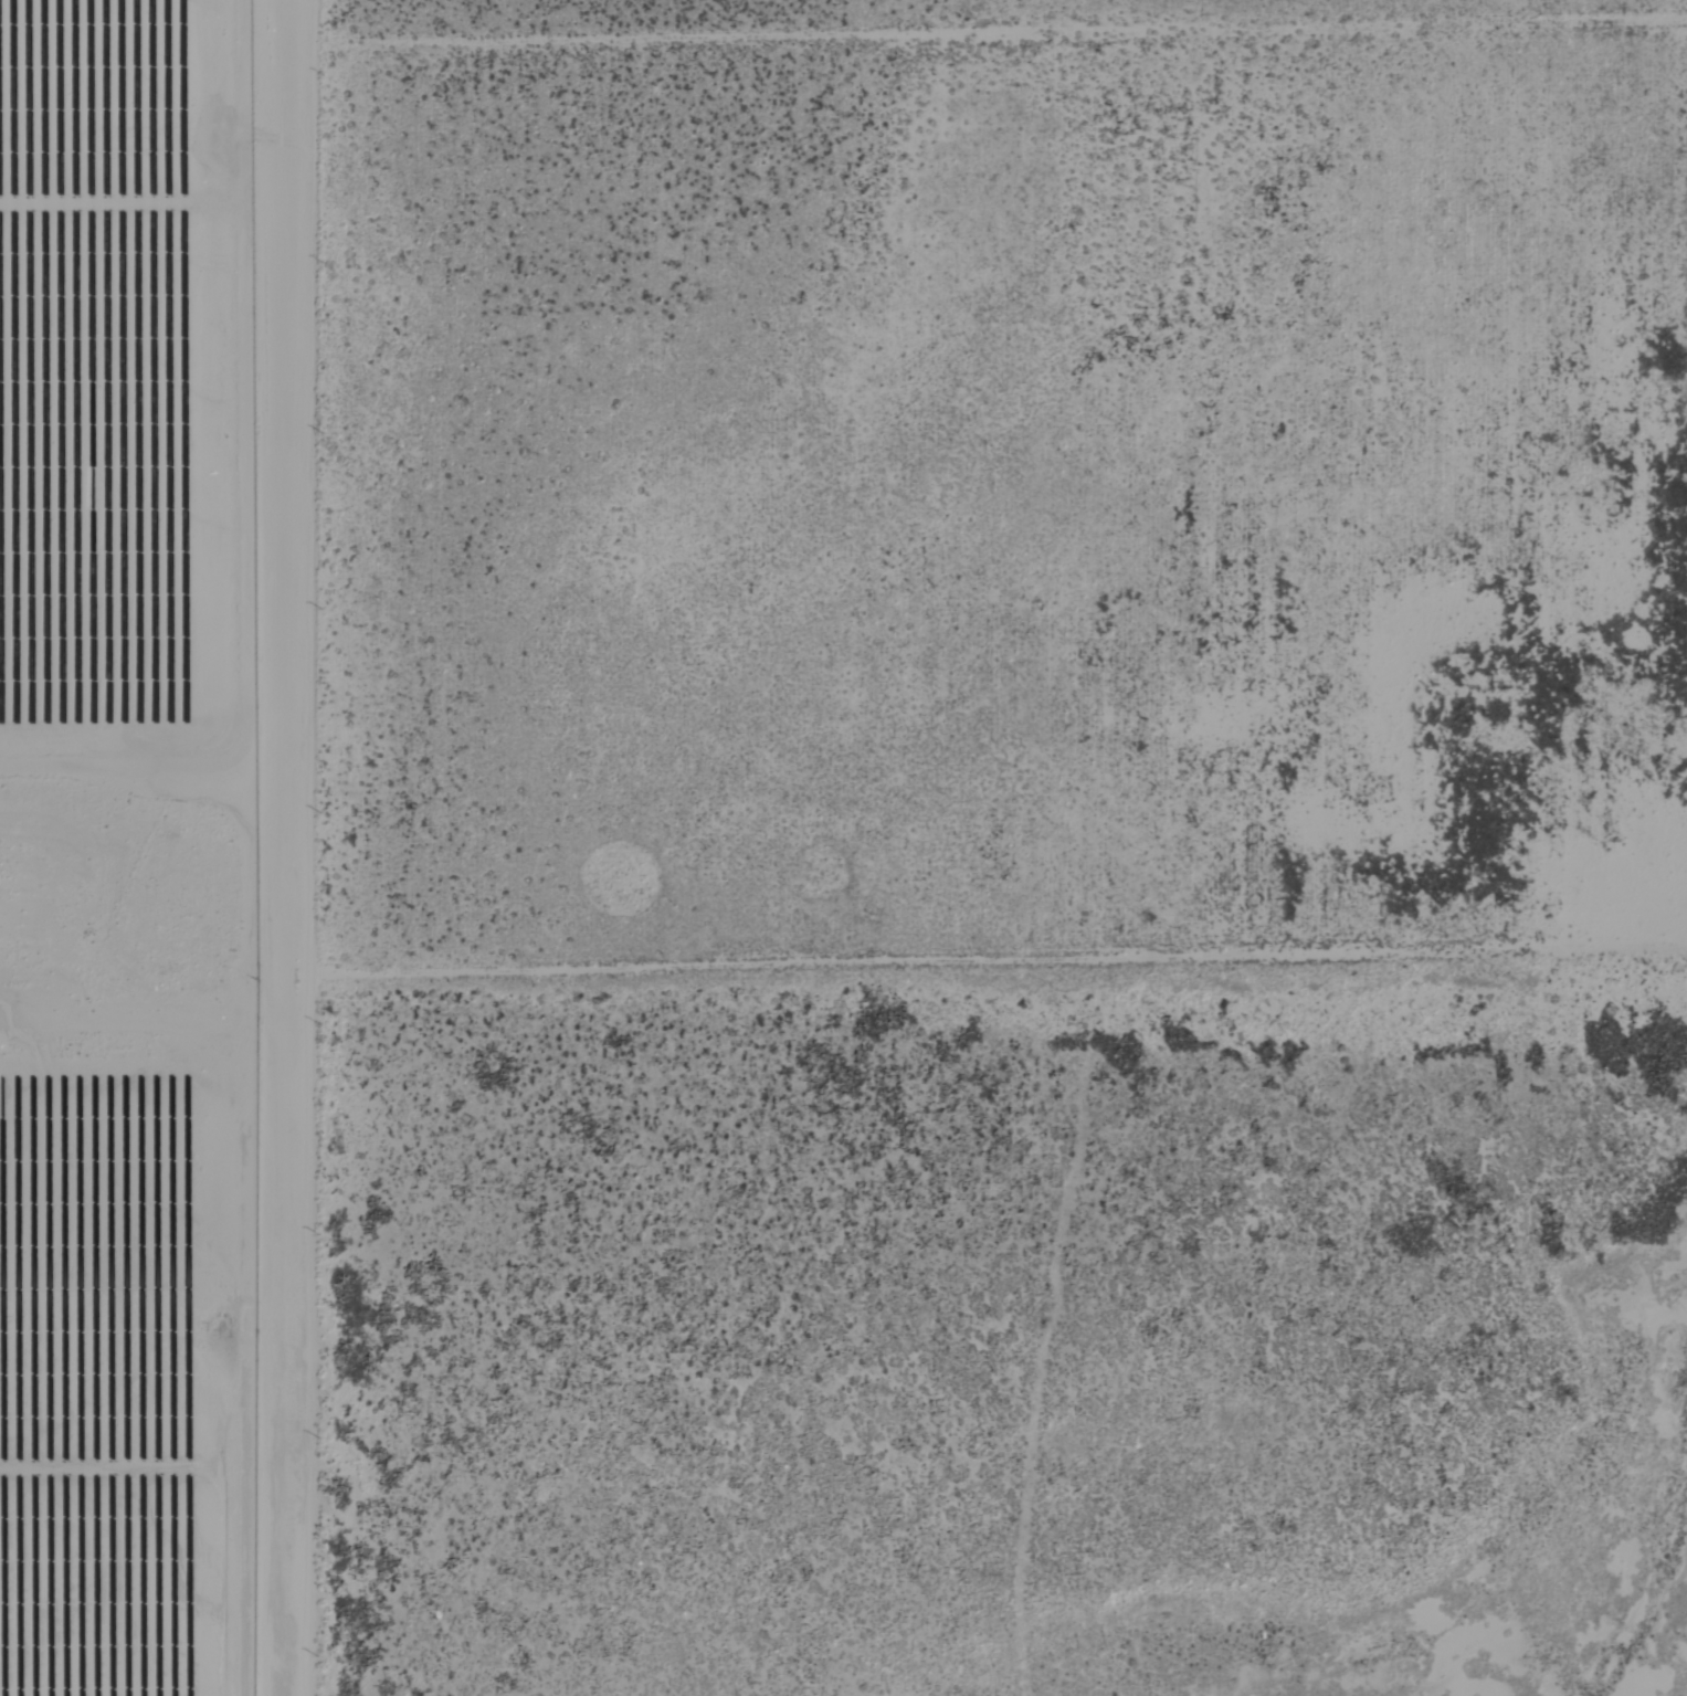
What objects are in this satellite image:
solar farm: (127, 849)
road: (289, 849)

